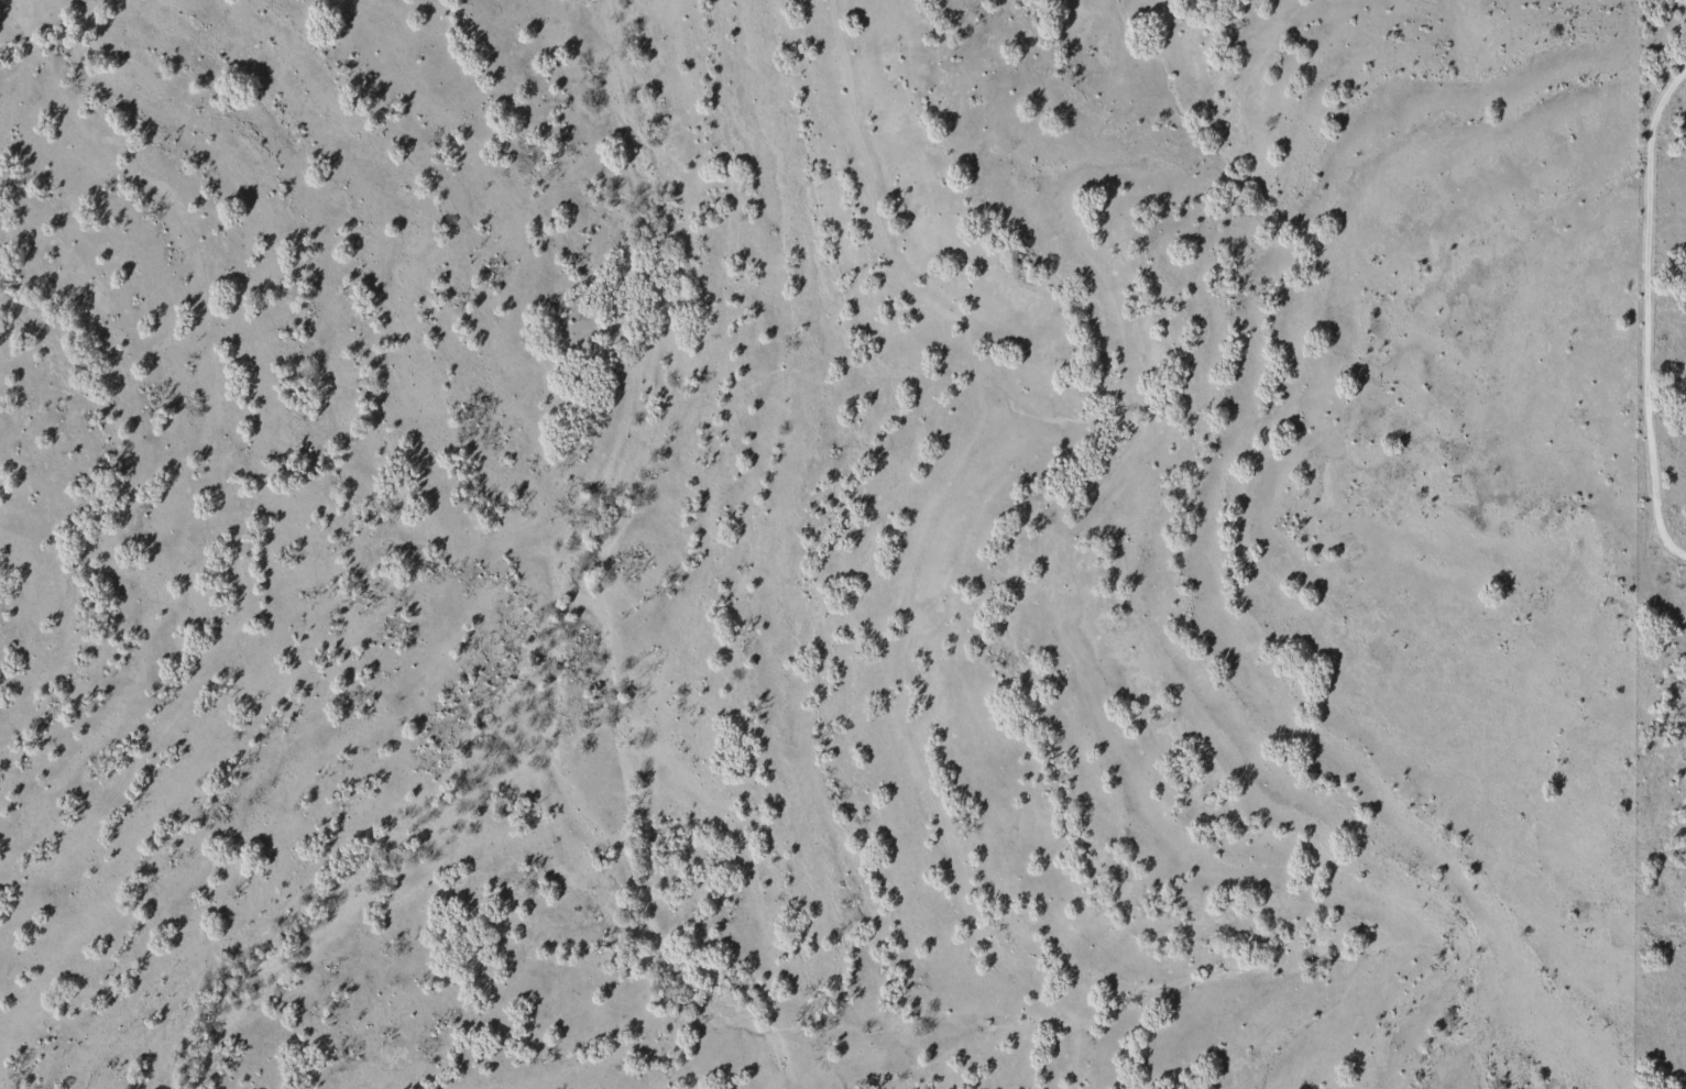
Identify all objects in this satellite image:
road: (1646, 312)

